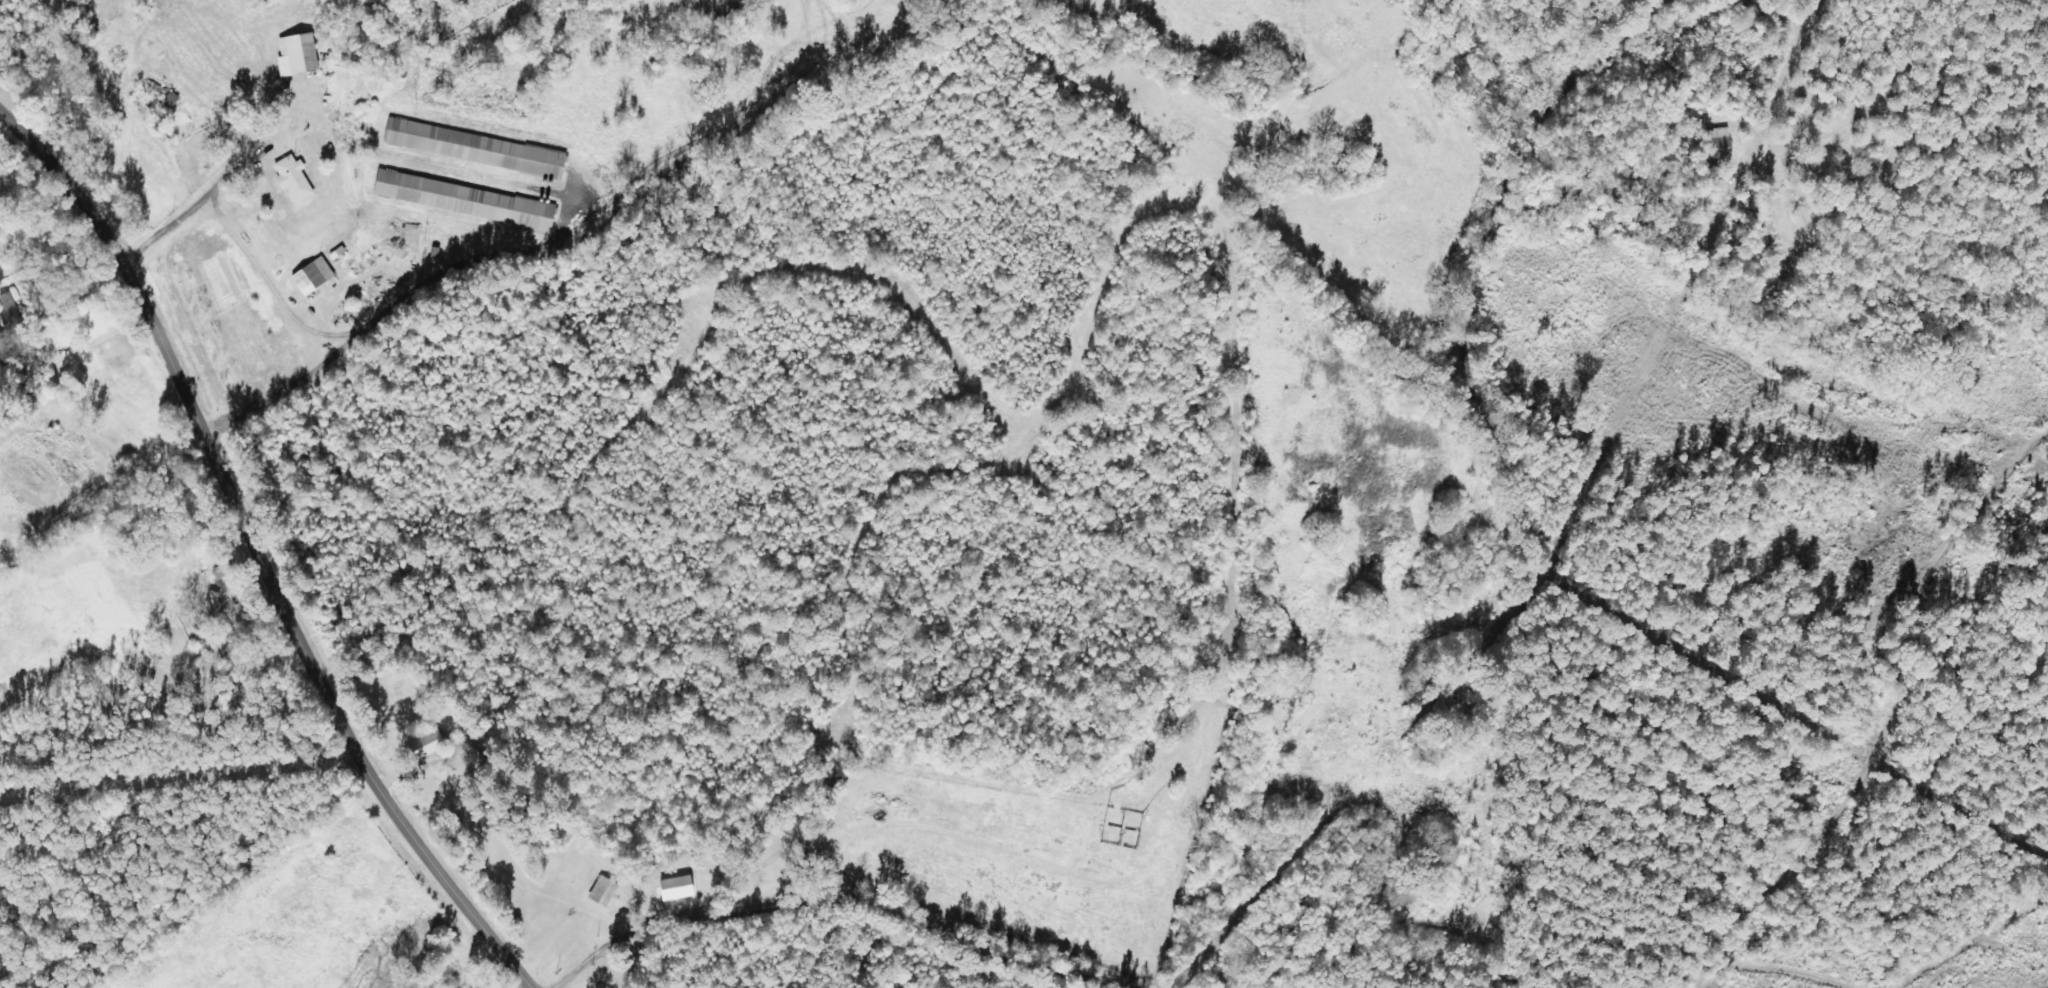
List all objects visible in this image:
building: (299, 55)
road: (1883, 76)
building: (1721, 144)
building: (477, 149)
building: (295, 179)
building: (410, 197)
building: (472, 202)
building: (315, 277)
road: (1535, 450)
road: (257, 553)
road: (1790, 686)
park: (390, 703)
building: (428, 745)
road: (878, 898)

